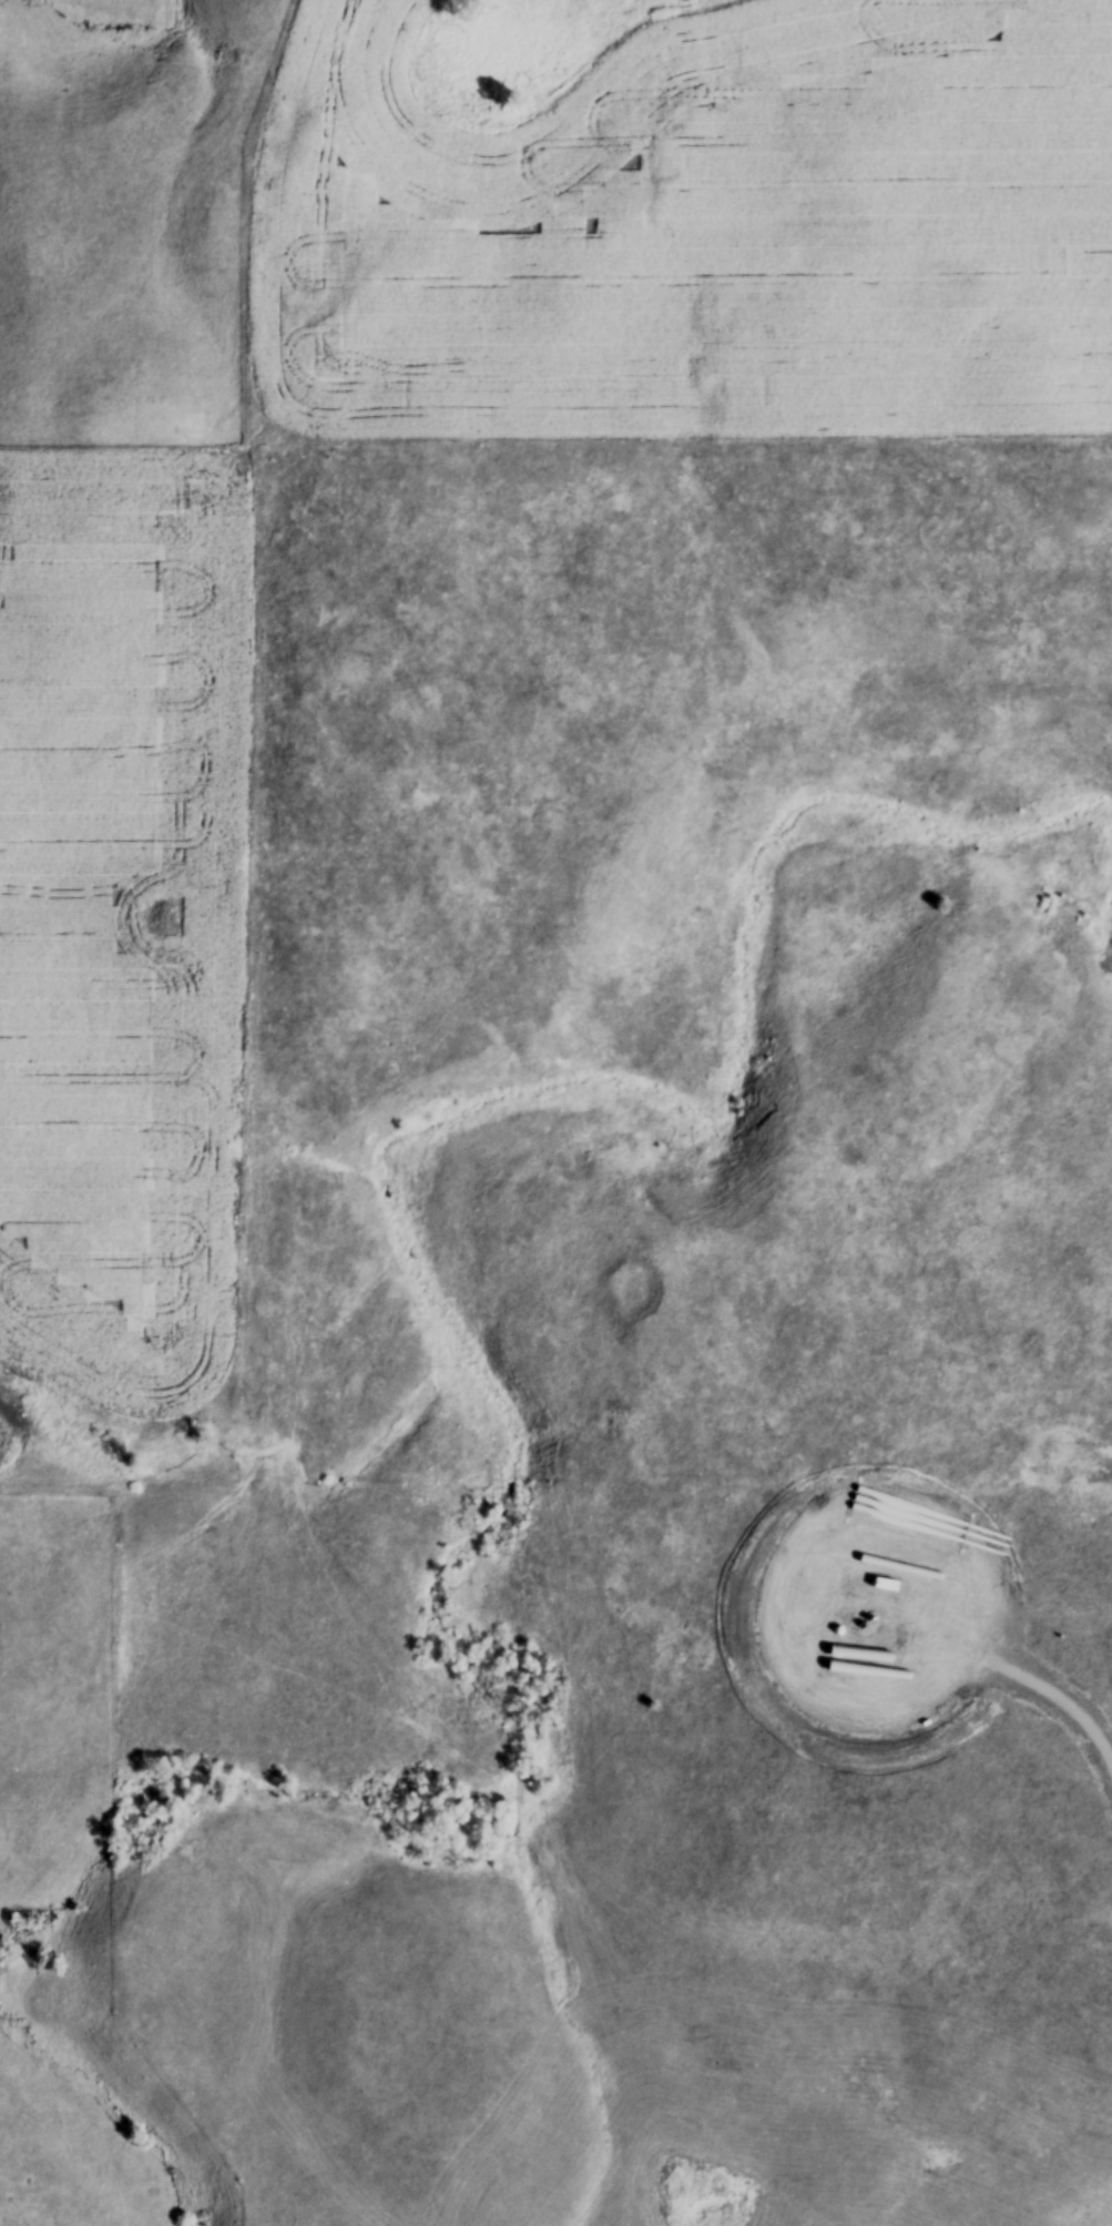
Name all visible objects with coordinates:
wind turbine: (878, 1608)

